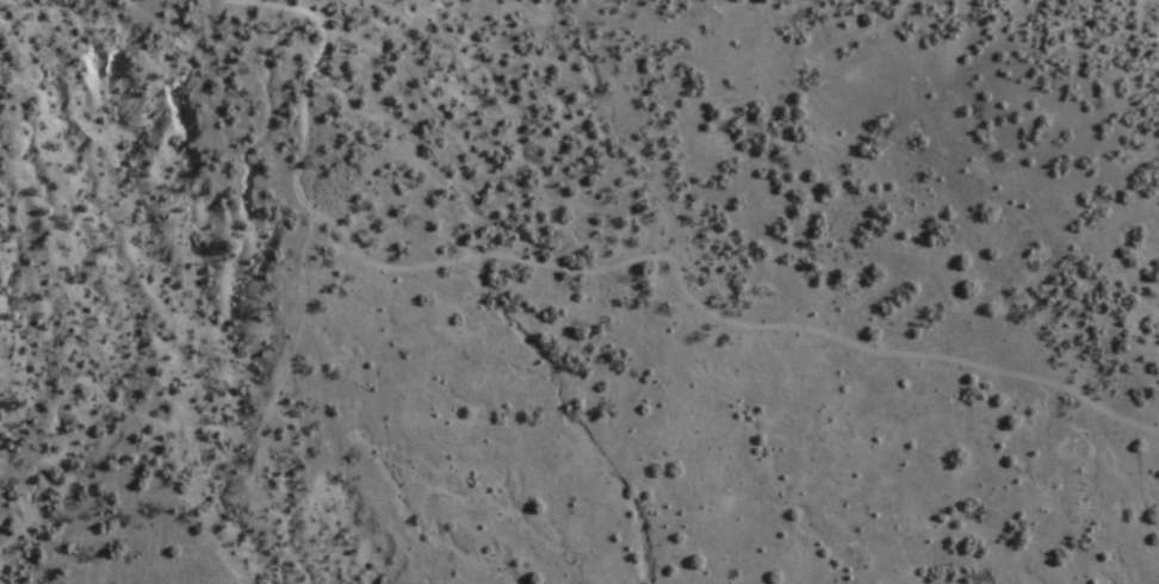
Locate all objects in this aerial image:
road: (613, 271)
road: (155, 414)

